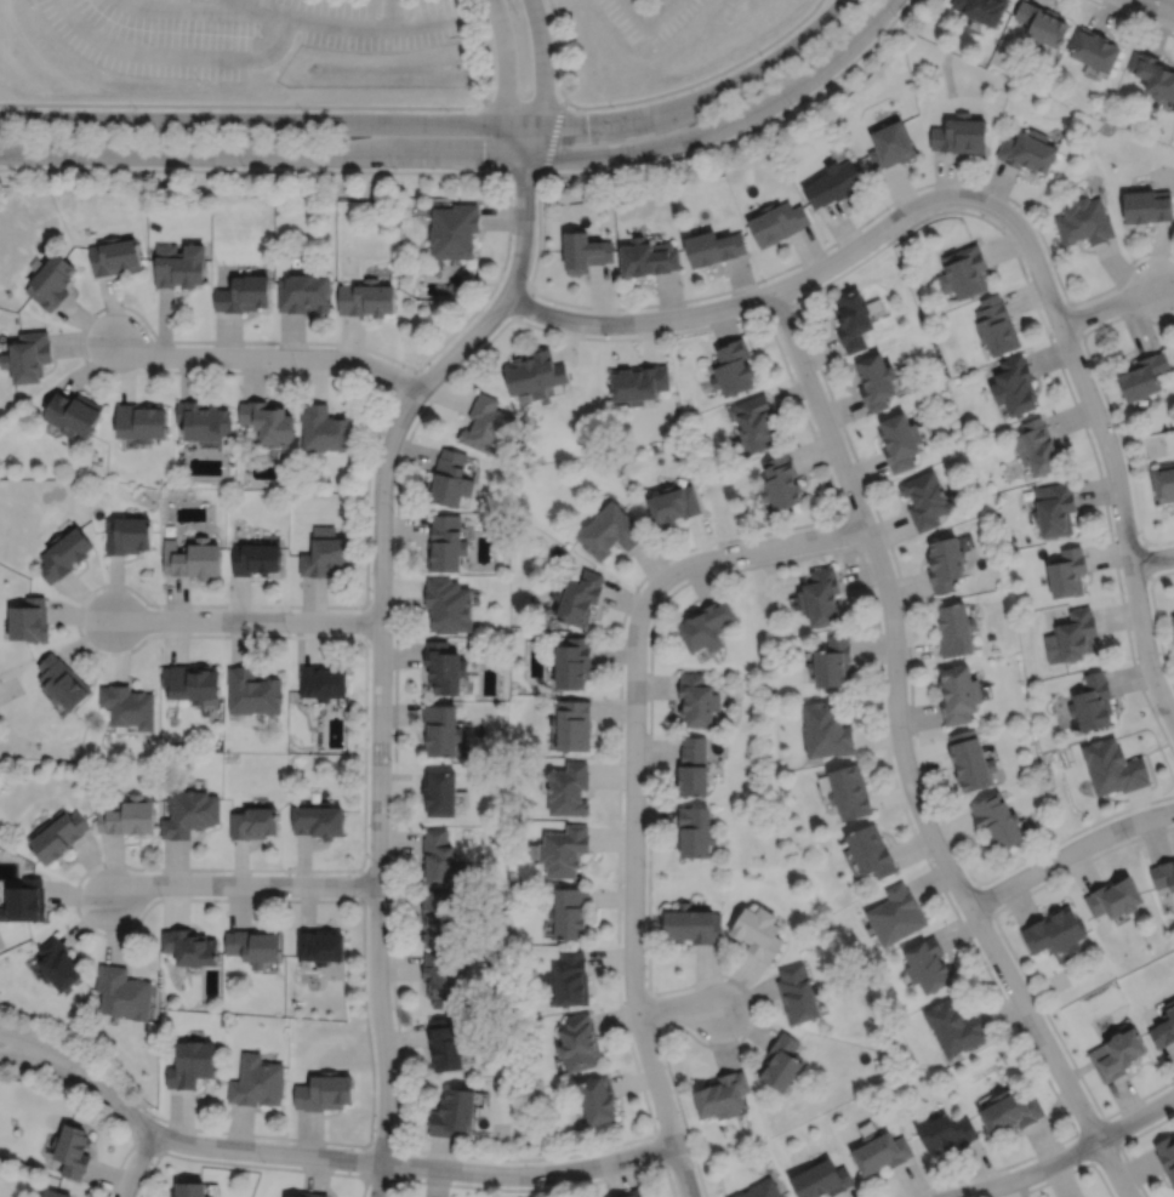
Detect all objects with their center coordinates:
road: (1158, 6)
building: (981, 8)
street lamp: (32, 10)
road: (637, 12)
road: (661, 12)
road: (392, 15)
street lamp: (517, 15)
street lamp: (894, 15)
parking lot: (649, 17)
road: (1133, 18)
street lamp: (1142, 19)
parking lot: (346, 22)
building: (1041, 22)
road: (315, 23)
road: (426, 25)
street lamp: (264, 36)
building: (1094, 47)
road: (559, 50)
street lamp: (760, 56)
road: (507, 63)
road: (542, 63)
street lamp: (104, 73)
building: (1152, 73)
road: (702, 80)
street lamp: (200, 84)
road: (524, 101)
street lamp: (790, 104)
road: (175, 106)
road: (418, 108)
street lamp: (612, 108)
street lamp: (136, 109)
street lamp: (301, 110)
street lamp: (448, 113)
road: (440, 122)
building: (958, 135)
road: (554, 137)
building: (888, 144)
building: (1026, 150)
road: (469, 156)
street lamp: (633, 164)
street lamp: (96, 166)
street lamp: (243, 167)
street lamp: (394, 170)
street lamp: (491, 170)
road: (526, 173)
building: (832, 182)
building: (1146, 205)
street lamp: (888, 210)
road: (524, 211)
street lamp: (1019, 211)
building: (777, 222)
building: (1083, 222)
building: (452, 230)
building: (713, 247)
building: (583, 251)
building: (114, 256)
building: (648, 257)
street lamp: (1135, 262)
building: (178, 266)
building: (962, 270)
building: (50, 281)
street lamp: (526, 281)
street lamp: (765, 281)
building: (302, 292)
road: (769, 292)
building: (244, 293)
building: (364, 298)
road: (519, 304)
road: (1109, 304)
road: (638, 306)
road: (777, 306)
road: (799, 317)
building: (850, 320)
road: (1075, 323)
building: (995, 325)
street lamp: (149, 334)
street lamp: (604, 335)
street lamp: (1052, 337)
road: (268, 355)
building: (27, 357)
building: (731, 367)
street lamp: (296, 369)
street lamp: (816, 369)
street lamp: (421, 370)
building: (534, 375)
building: (1141, 376)
road: (791, 378)
building: (876, 381)
road: (405, 382)
building: (639, 384)
building: (1013, 386)
road: (1107, 404)
building: (72, 414)
building: (201, 418)
building: (267, 420)
building: (139, 422)
building: (753, 422)
building: (485, 426)
building: (325, 428)
street lamp: (1117, 439)
building: (900, 441)
building: (1036, 448)
road: (1112, 462)
building: (449, 480)
building: (780, 481)
building: (1163, 481)
building: (925, 500)
building: (672, 505)
street lamp: (845, 507)
building: (1053, 509)
street lamp: (393, 511)
road: (851, 530)
building: (608, 531)
building: (126, 535)
building: (445, 545)
road: (752, 549)
building: (61, 553)
building: (324, 553)
building: (253, 558)
road: (1151, 558)
building: (193, 559)
road: (1142, 559)
street lamp: (746, 564)
road: (758, 564)
building: (946, 564)
building: (1066, 574)
road: (136, 592)
street lamp: (638, 592)
street lamp: (1124, 593)
building: (820, 598)
building: (577, 599)
building: (448, 605)
street lamp: (158, 606)
building: (27, 620)
road: (246, 620)
road: (365, 621)
street lamp: (880, 621)
road: (1156, 621)
building: (1173, 621)
building: (705, 628)
building: (956, 631)
street lamp: (287, 632)
building: (1071, 638)
street lamp: (369, 646)
building: (832, 663)
building: (570, 665)
building: (444, 668)
building: (59, 683)
building: (189, 683)
building: (323, 683)
building: (252, 692)
building: (959, 695)
building: (696, 701)
building: (1092, 702)
building: (126, 706)
street lamp: (1157, 716)
road: (378, 724)
building: (571, 726)
building: (441, 730)
street lamp: (646, 730)
building: (826, 730)
street lamp: (912, 735)
road: (905, 759)
street lamp: (391, 763)
building: (971, 763)
building: (1112, 765)
building: (691, 769)
building: (568, 788)
building: (440, 793)
building: (850, 793)
building: (188, 813)
building: (127, 816)
building: (318, 819)
building: (996, 821)
building: (253, 822)
building: (695, 830)
building: (58, 833)
street lamp: (1127, 838)
building: (564, 848)
building: (872, 850)
road: (1068, 853)
building: (438, 855)
street lamp: (930, 860)
street lamp: (645, 865)
street lamp: (285, 873)
building: (1163, 873)
road: (361, 883)
road: (244, 884)
street lamp: (161, 896)
road: (982, 896)
building: (1112, 896)
road: (633, 899)
building: (25, 900)
street lamp: (1001, 905)
street lamp: (366, 906)
building: (570, 911)
building: (896, 913)
building: (439, 918)
building: (693, 923)
building: (759, 931)
building: (1054, 931)
building: (256, 945)
building: (323, 945)
building: (190, 946)
road: (1018, 962)
building: (57, 964)
building: (927, 964)
street lamp: (992, 969)
building: (570, 979)
building: (440, 980)
building: (121, 993)
building: (797, 993)
road: (676, 1004)
road: (652, 1010)
building: (954, 1027)
building: (1164, 1027)
street lamp: (655, 1032)
building: (579, 1043)
building: (444, 1045)
road: (50, 1049)
building: (1117, 1054)
building: (780, 1062)
road: (47, 1064)
building: (189, 1065)
street lamp: (399, 1077)
building: (256, 1082)
street lamp: (1172, 1084)
building: (324, 1093)
building: (720, 1096)
building: (597, 1101)
road: (101, 1104)
street lamp: (1095, 1111)
building: (1011, 1112)
building: (452, 1113)
street lamp: (152, 1117)
building: (946, 1134)
road: (146, 1142)
road: (1121, 1144)
road: (1118, 1146)
building: (73, 1147)
road: (660, 1147)
street lamp: (405, 1152)
building: (880, 1153)
building: (1166, 1153)
road: (1066, 1155)
road: (376, 1161)
road: (137, 1162)
street lamp: (263, 1162)
street lamp: (551, 1162)
street lamp: (1079, 1162)
road: (1090, 1162)
road: (247, 1164)
street lamp: (693, 1165)
road: (1068, 1172)
road: (395, 1179)
building: (821, 1180)
street lamp: (946, 1186)
building: (190, 1187)
road: (540, 1189)
building: (760, 1190)
building: (56, 1192)
building: (308, 1193)
building: (629, 1193)

